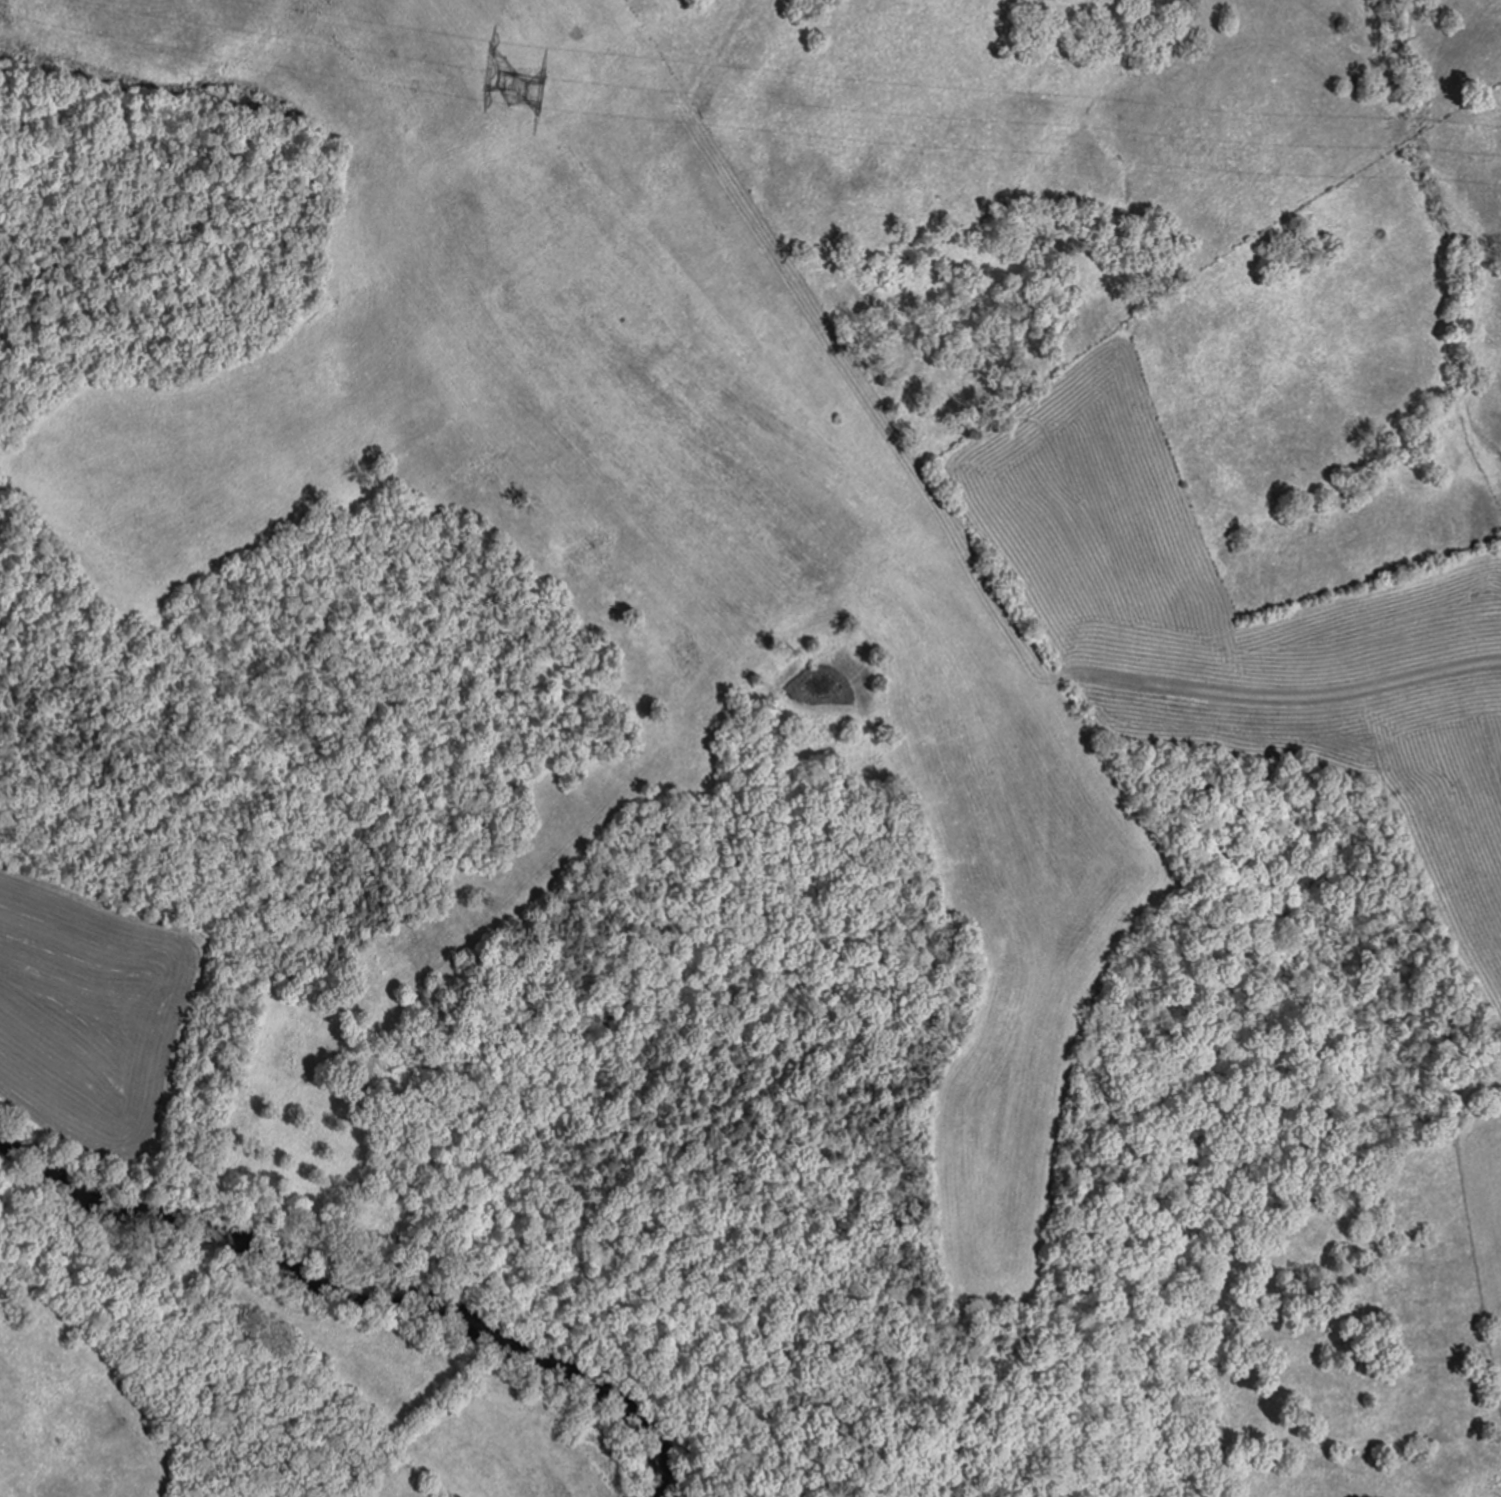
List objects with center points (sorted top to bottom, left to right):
power tower: (511, 92)
road: (1476, 688)
river: (364, 1288)

